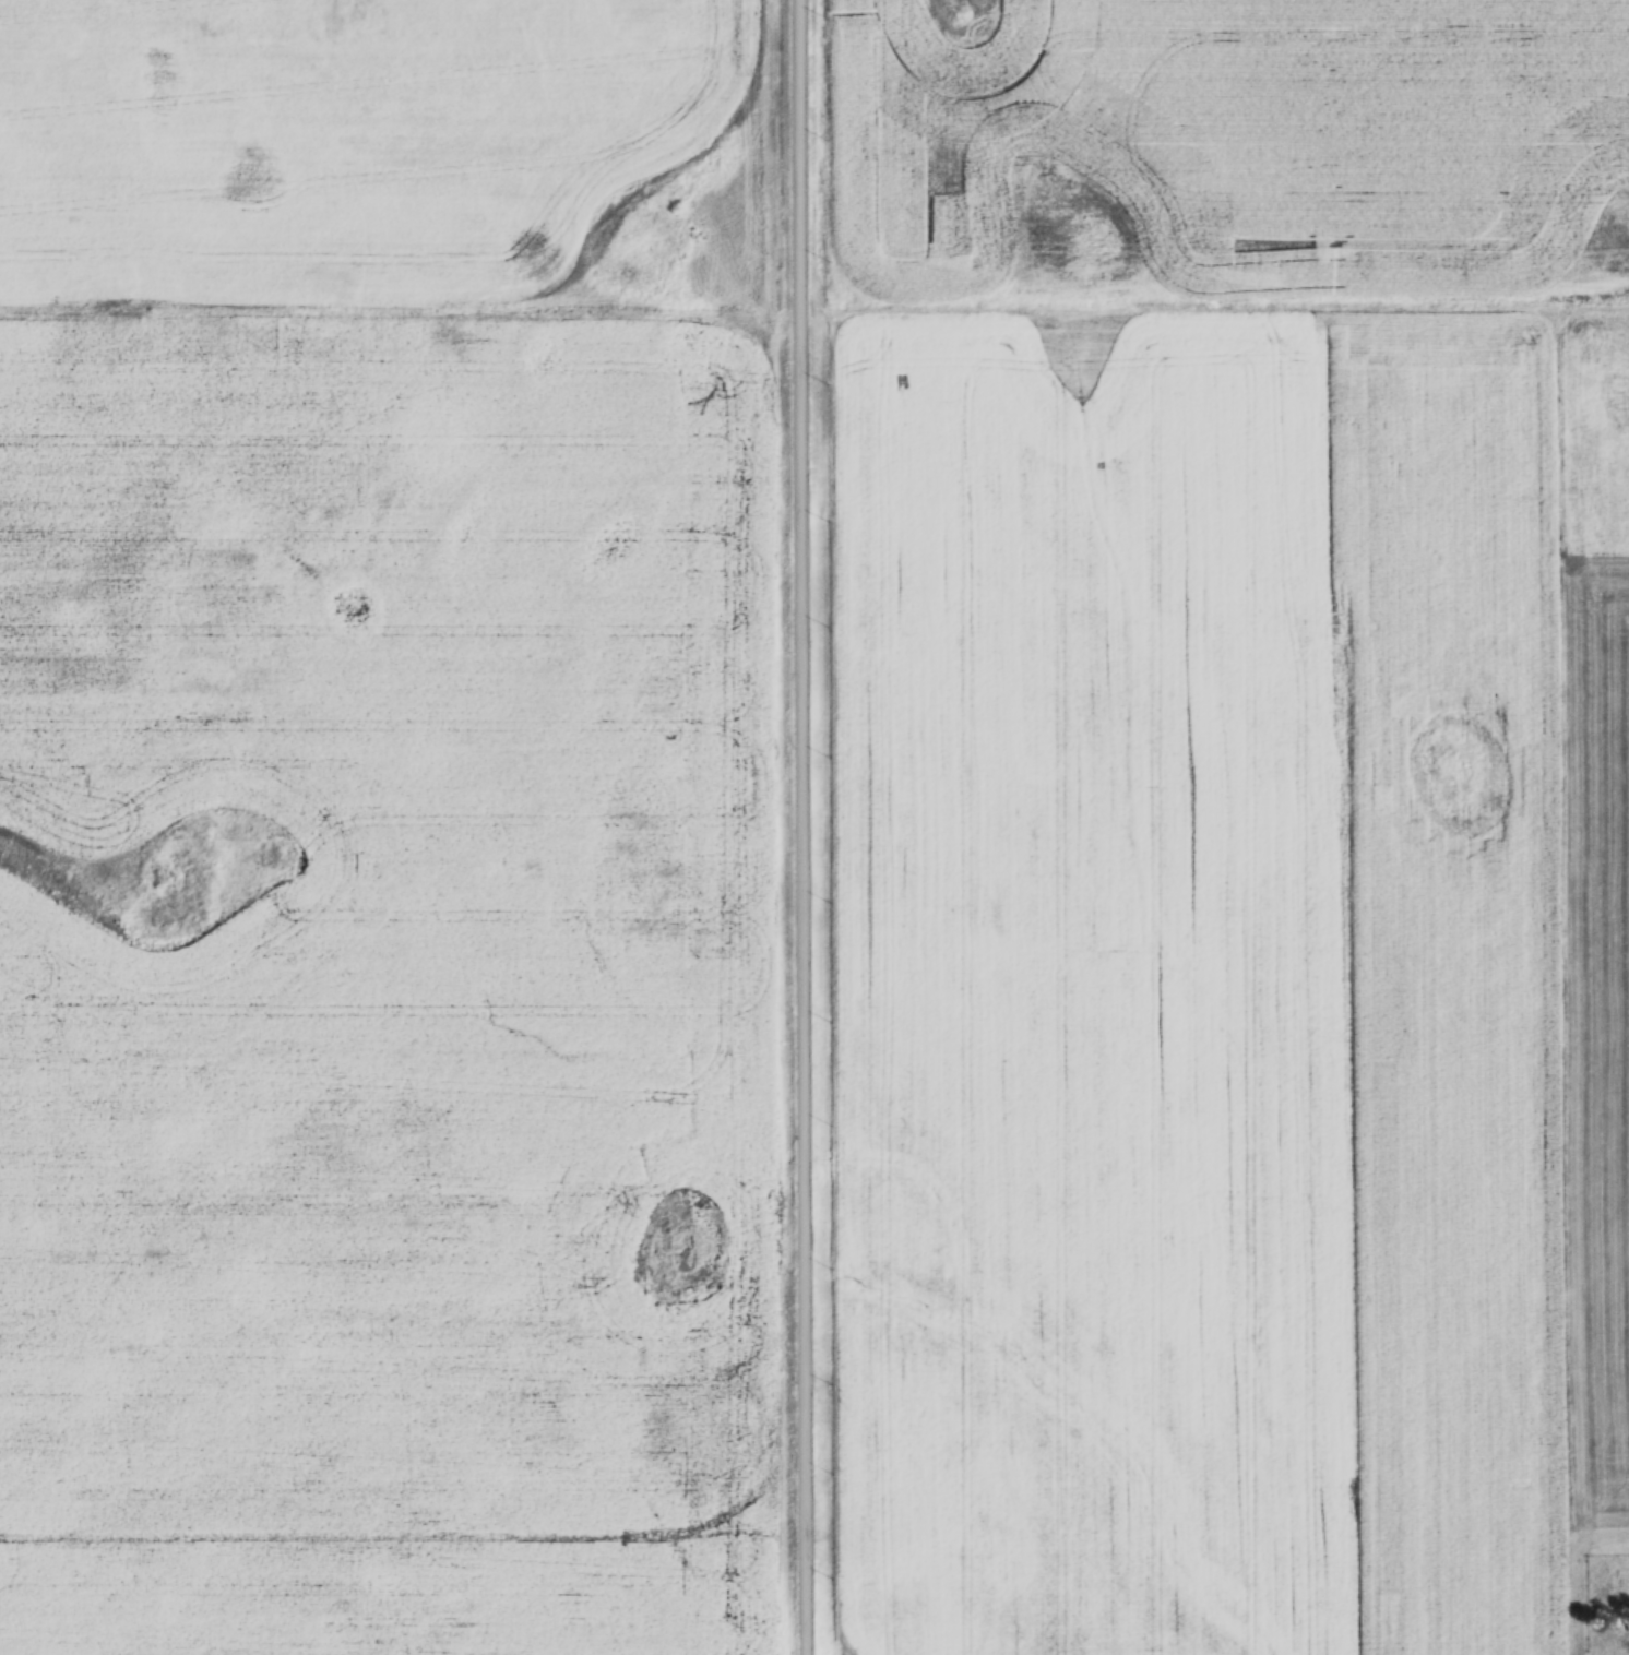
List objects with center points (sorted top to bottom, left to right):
road: (809, 827)

